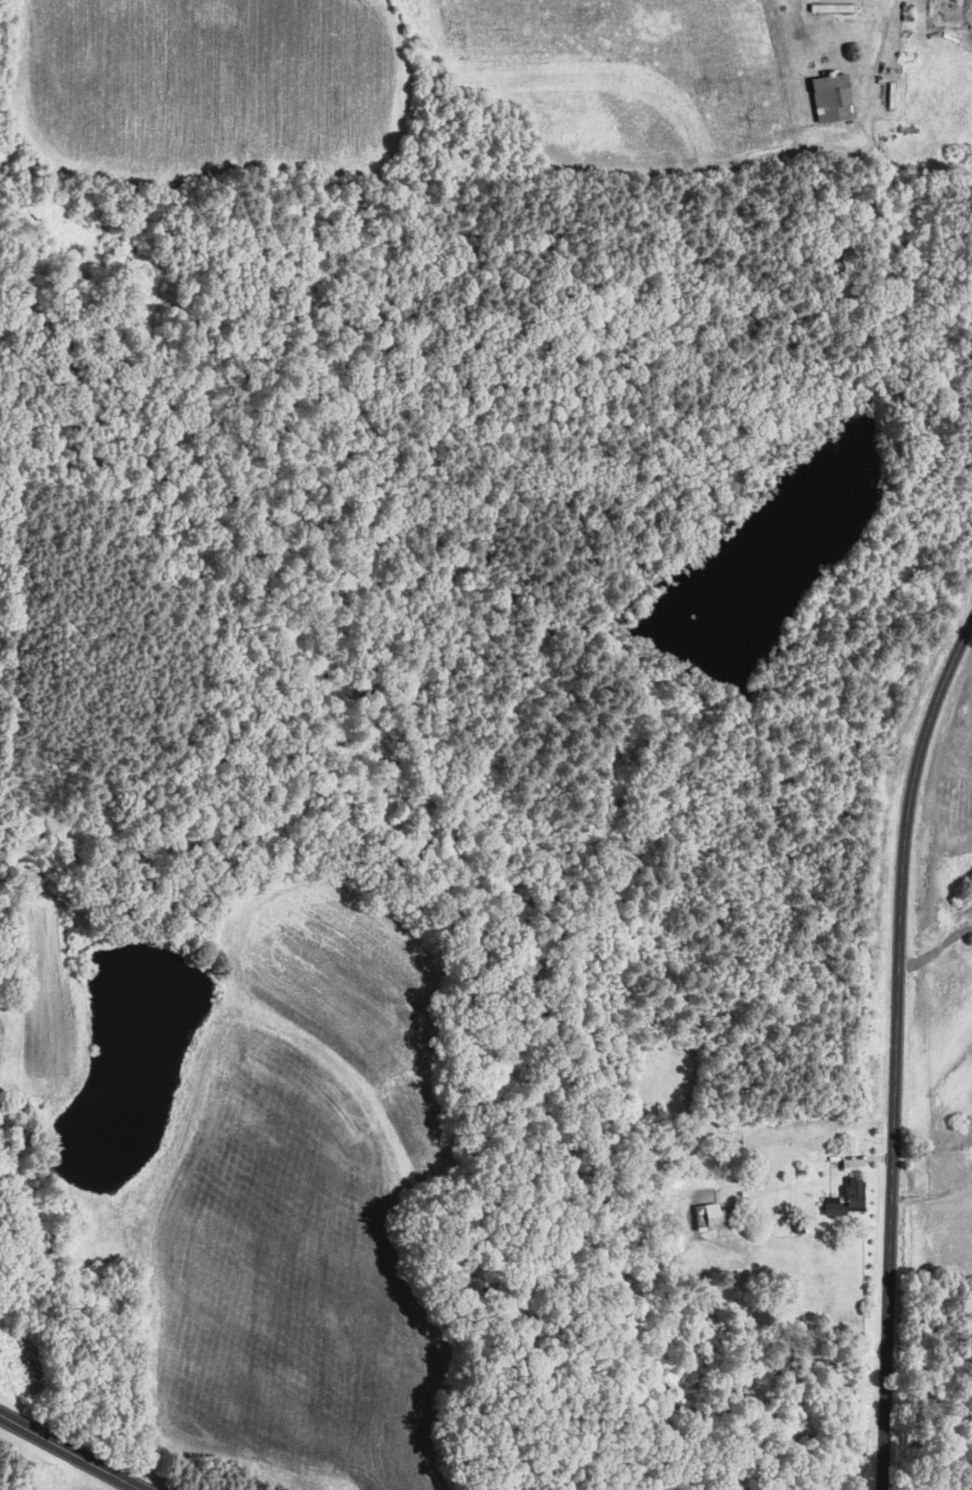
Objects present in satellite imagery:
building: (828, 7)
building: (828, 97)
road: (936, 948)
road: (895, 1047)
building: (843, 1198)
building: (705, 1215)
road: (72, 1450)

